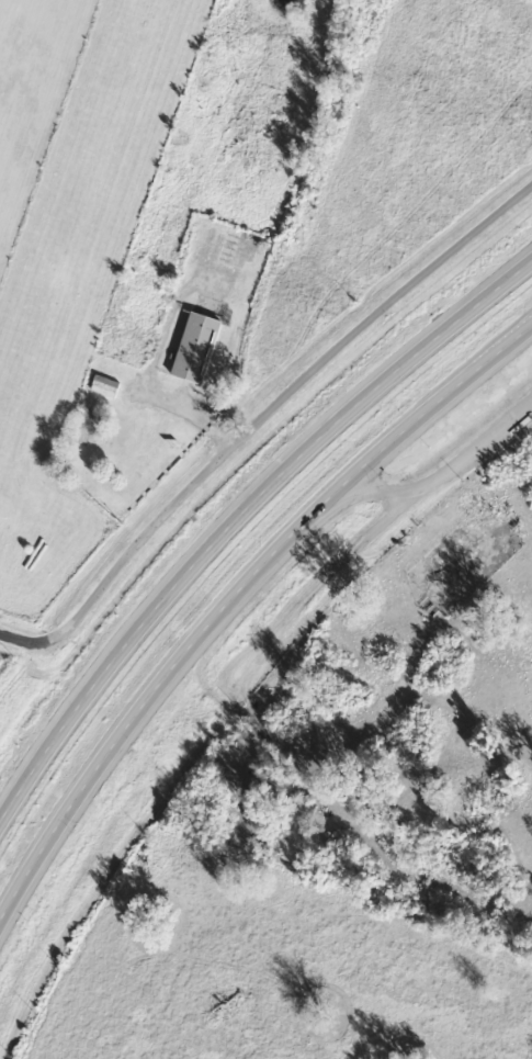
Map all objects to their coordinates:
building: (200, 347)
road: (163, 350)
building: (109, 380)
road: (257, 417)
road: (449, 467)
road: (236, 514)
road: (233, 594)

